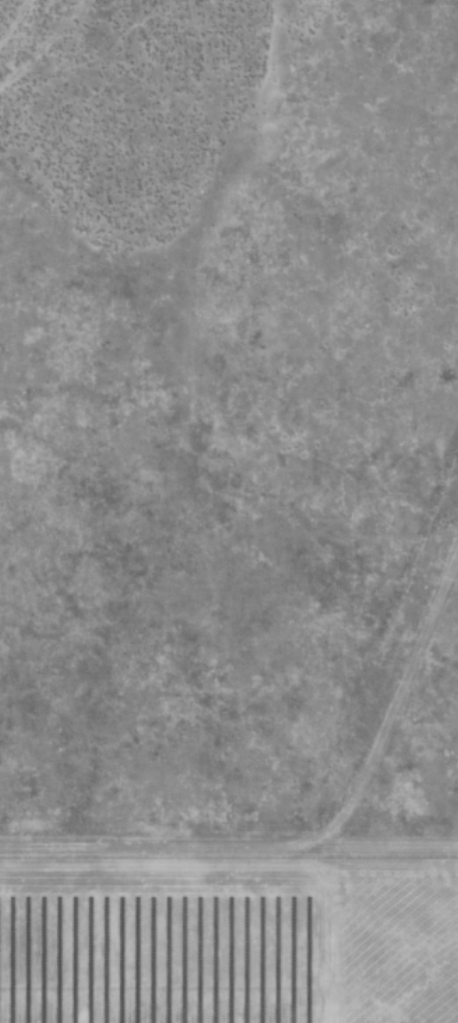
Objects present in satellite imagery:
solar farm: (229, 941)

